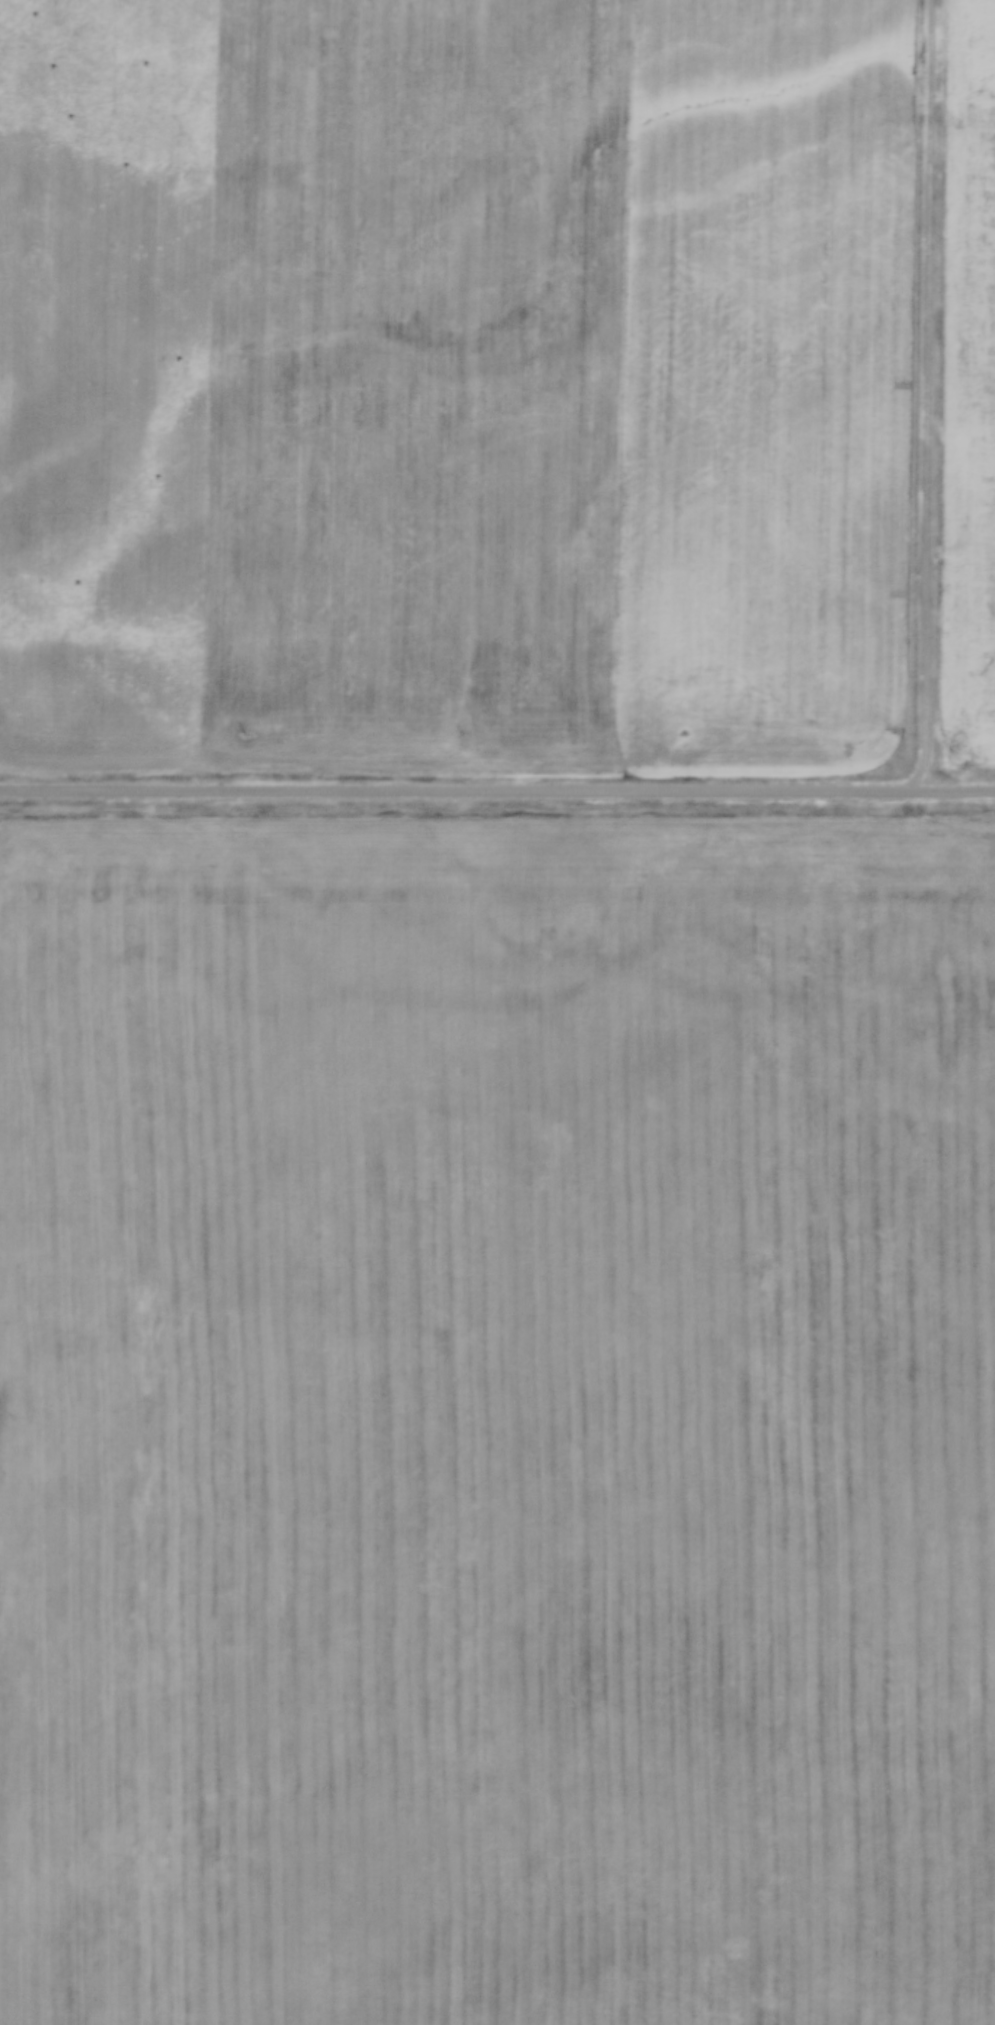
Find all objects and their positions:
road: (924, 397)
road: (497, 796)

